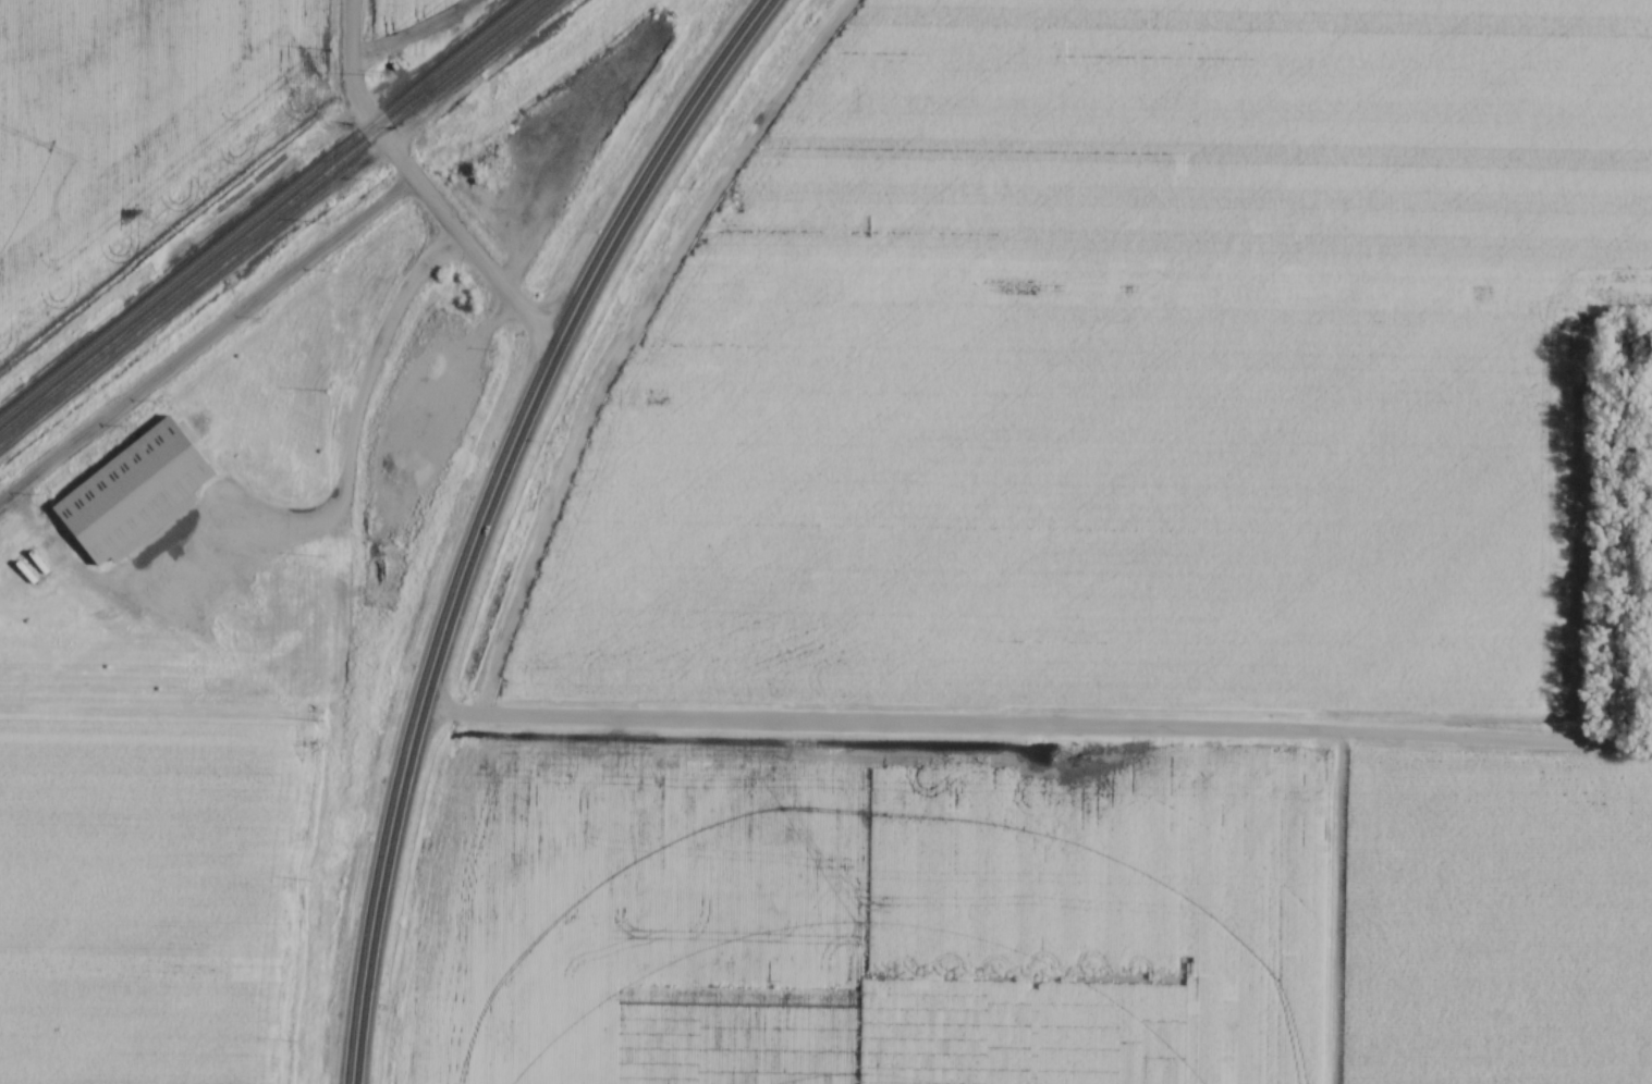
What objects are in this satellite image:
road: (416, 187)
railway: (262, 209)
railway: (271, 215)
road: (205, 344)
building: (135, 493)
road: (482, 513)
road: (297, 530)
road: (1033, 729)

